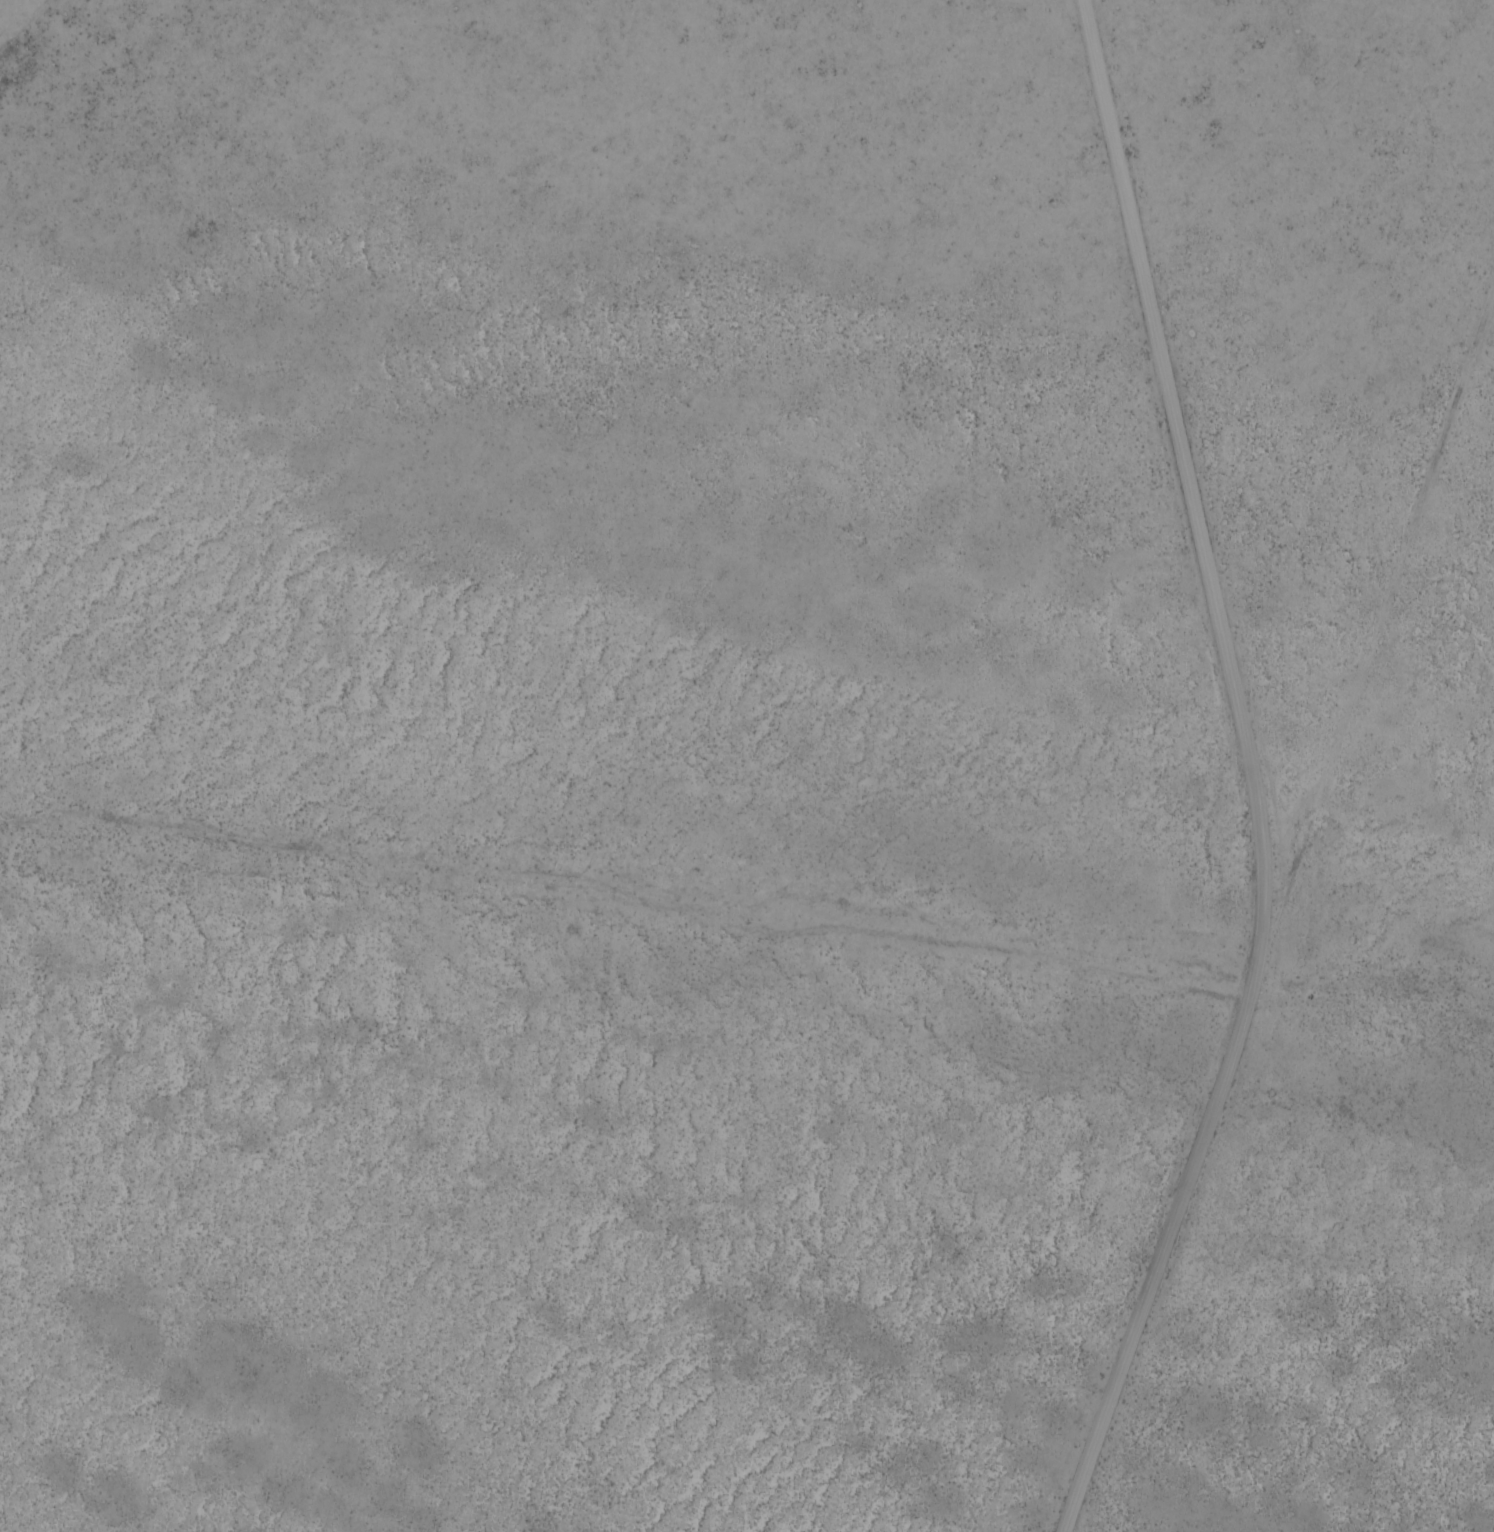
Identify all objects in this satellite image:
road: (1181, 427)
road: (1189, 1197)

